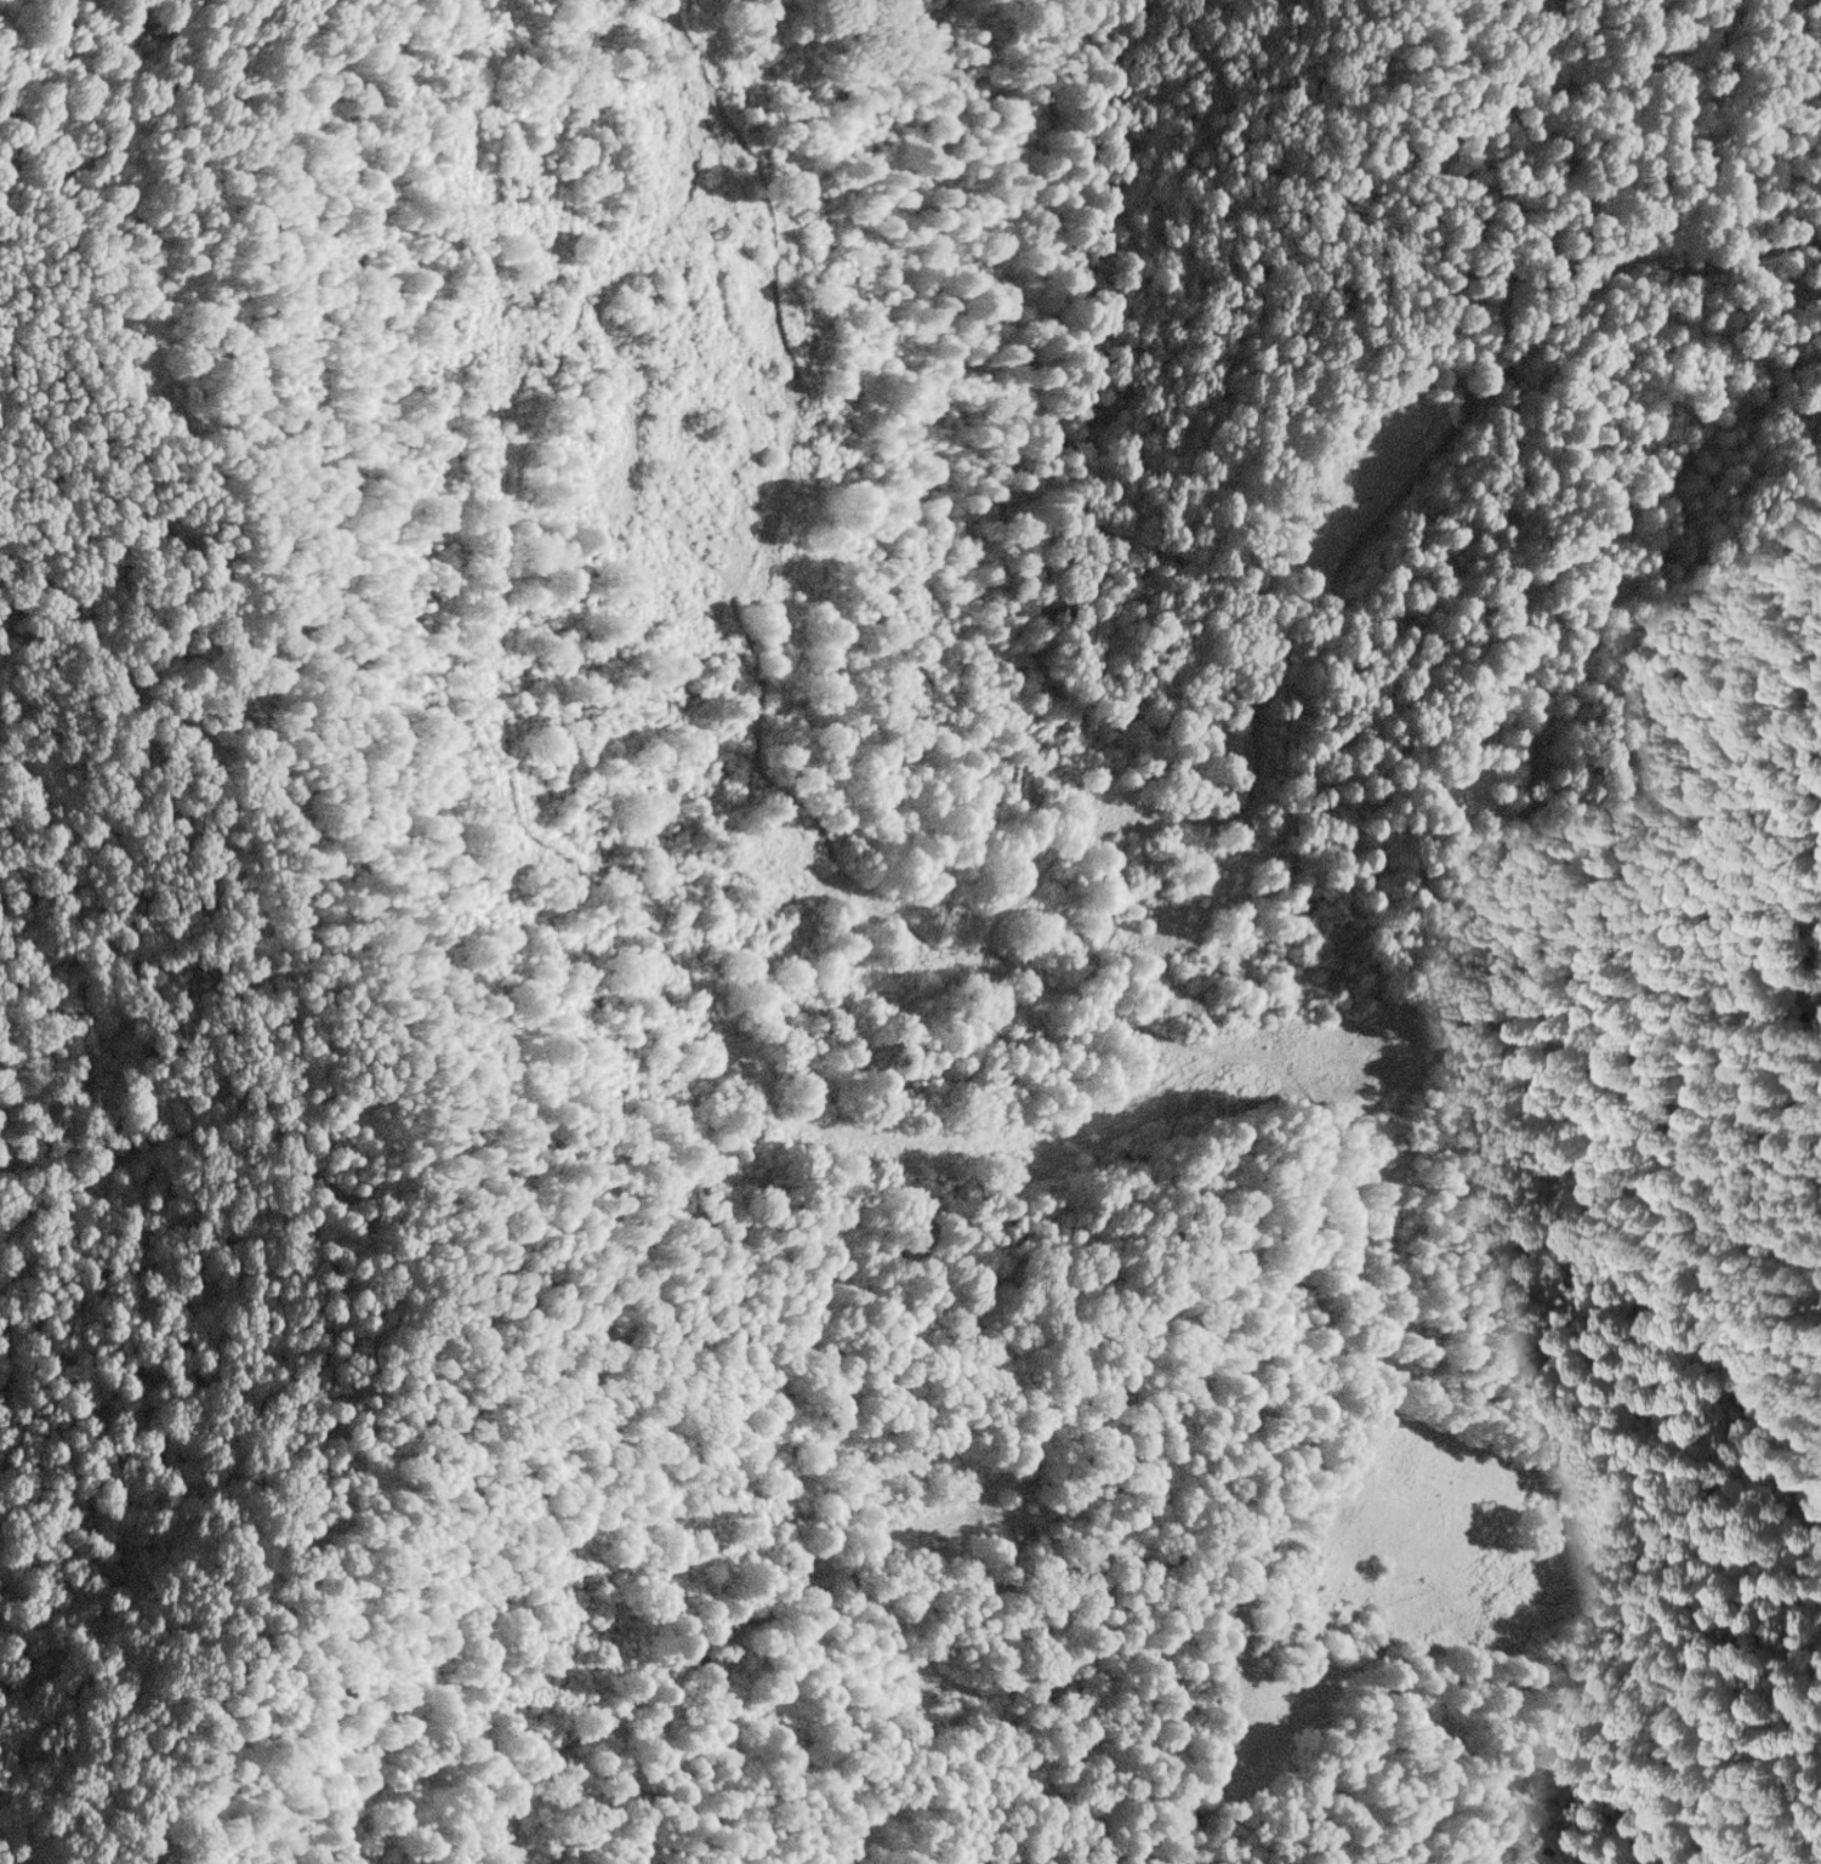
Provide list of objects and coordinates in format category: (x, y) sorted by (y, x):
road: (1043, 907)
road: (1376, 1243)

